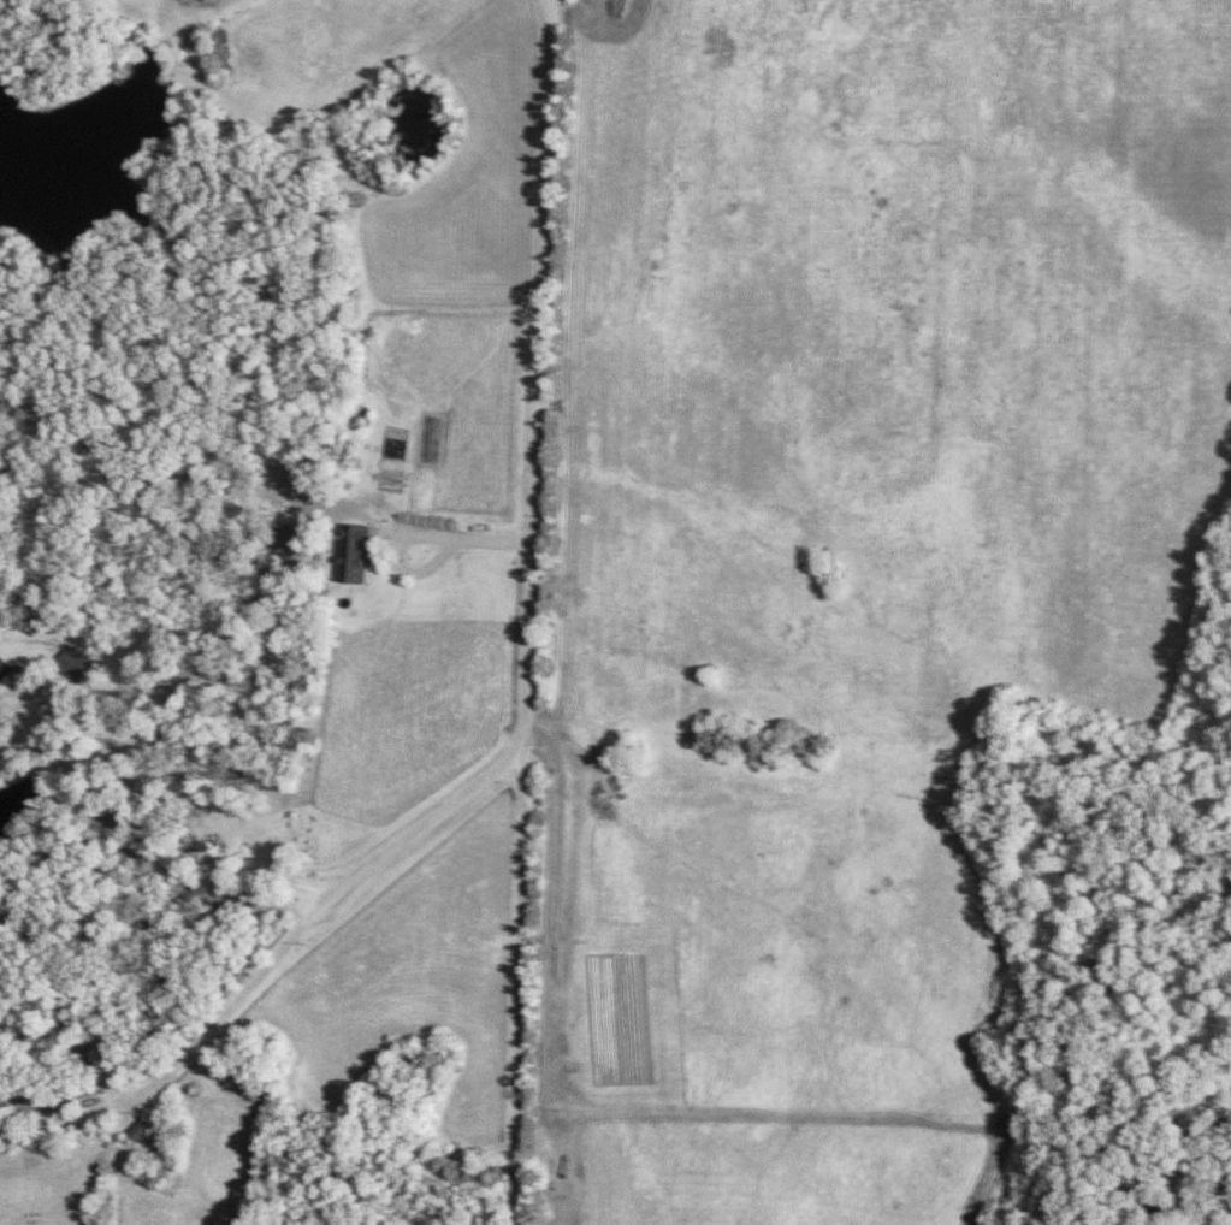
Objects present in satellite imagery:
road: (461, 534)
building: (359, 556)
road: (535, 615)
building: (4, 669)
road: (178, 787)
road: (322, 913)
building: (138, 1131)

